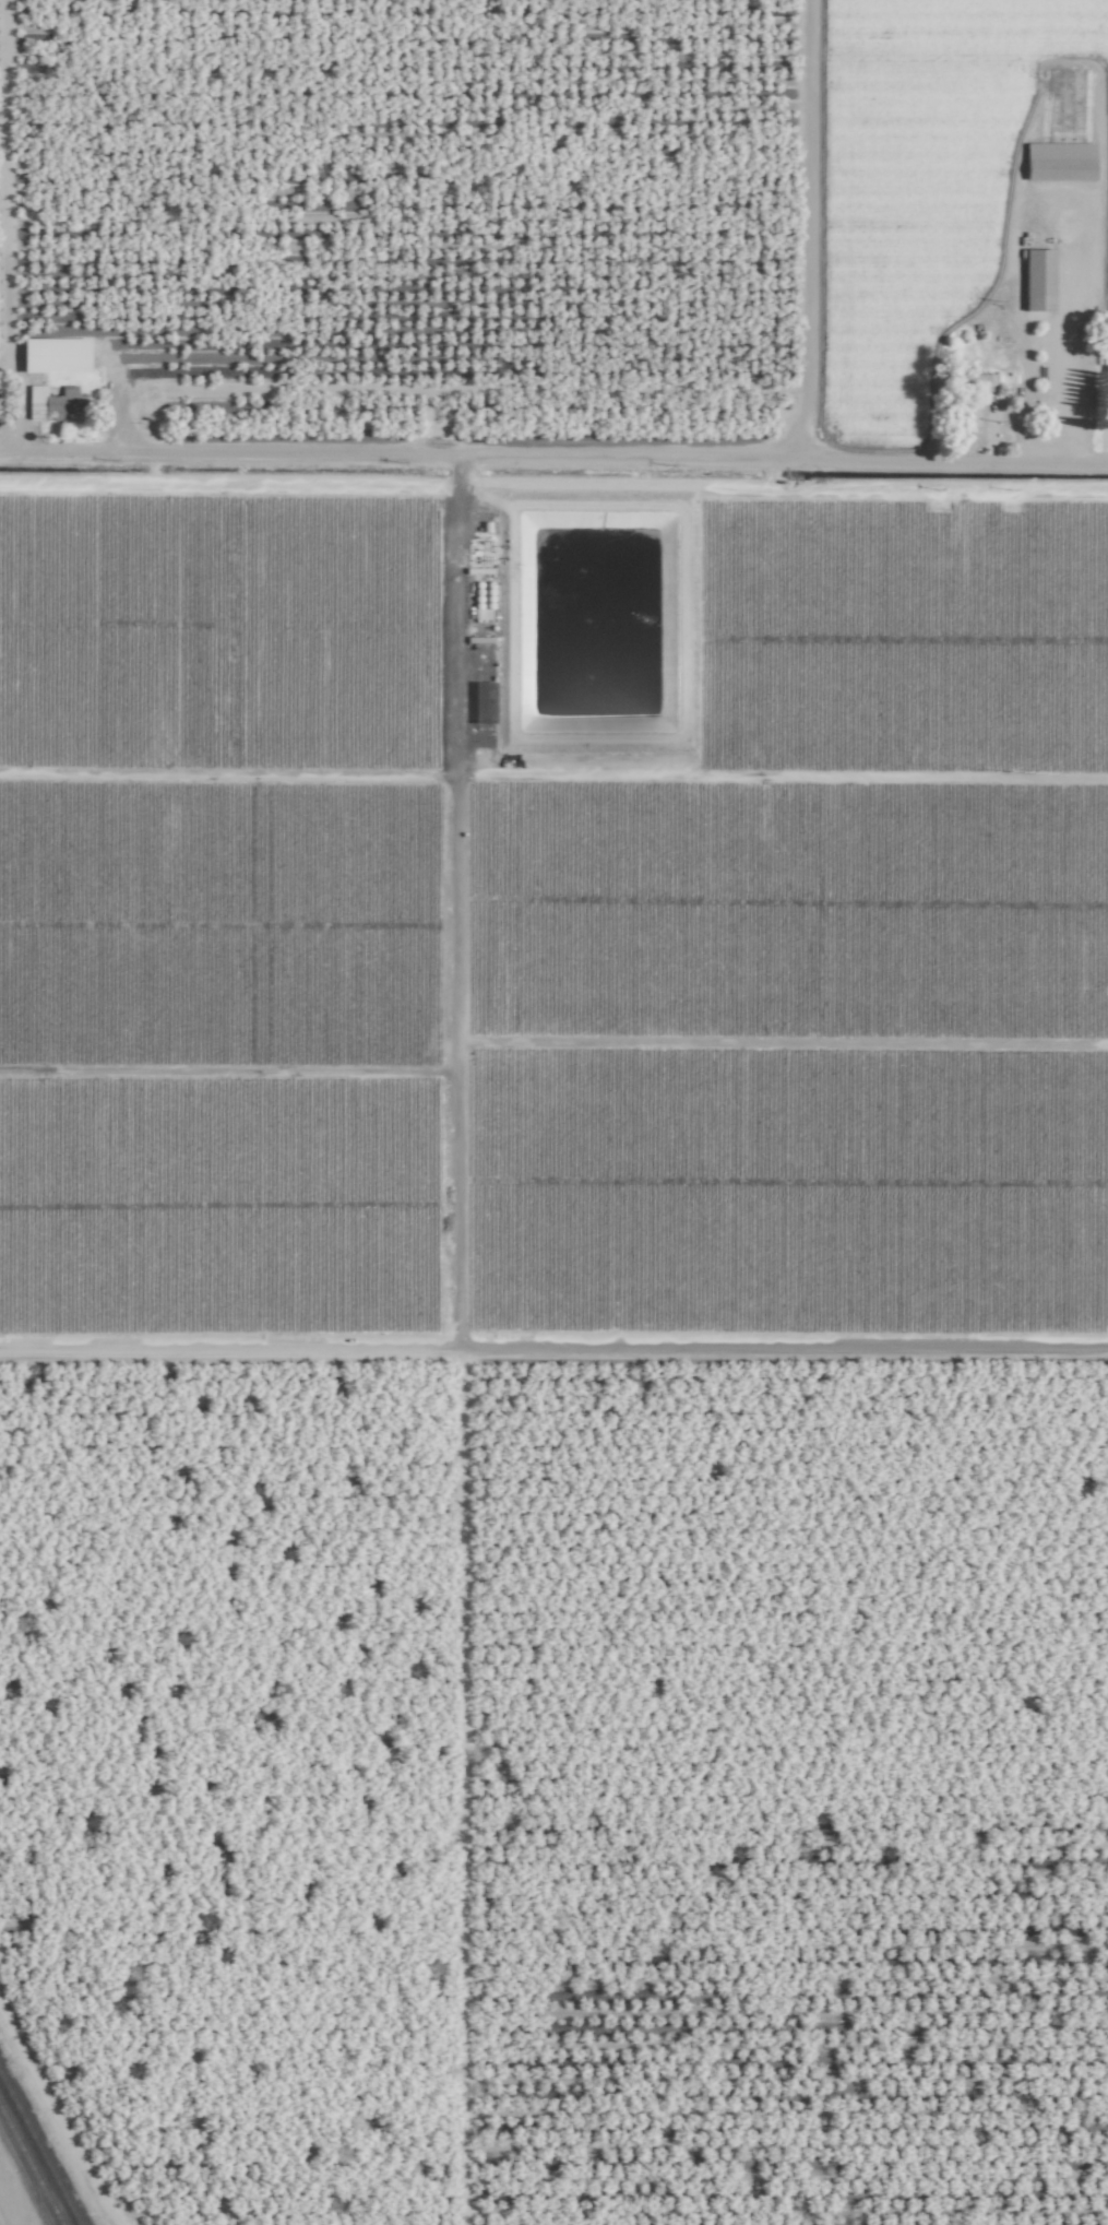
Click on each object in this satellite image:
building: (1056, 156)
road: (809, 230)
building: (1034, 279)
building: (49, 354)
building: (1105, 378)
building: (50, 401)
road: (553, 461)
railway: (39, 2151)
railway: (28, 2169)
railway: (22, 2180)

